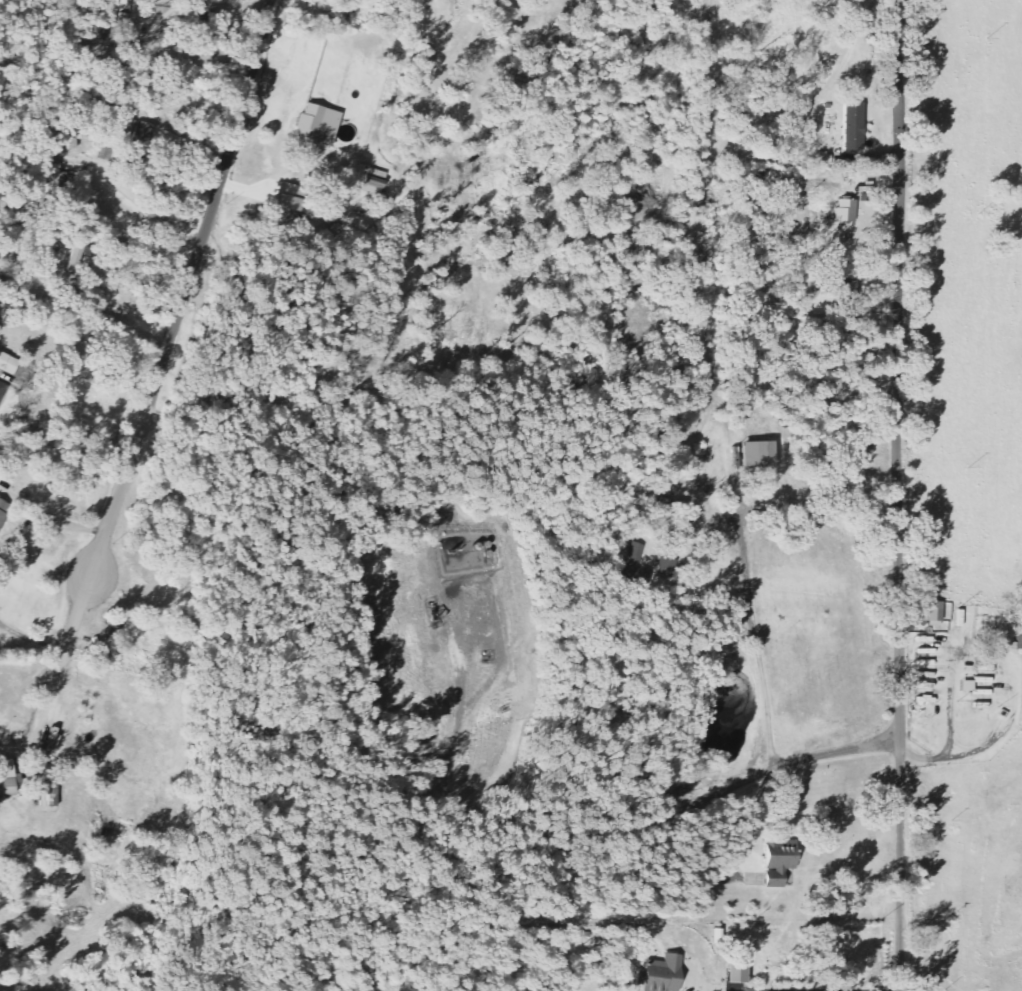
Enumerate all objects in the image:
building: (105, 21)
building: (214, 21)
road: (902, 81)
road: (813, 106)
building: (322, 123)
building: (856, 126)
building: (59, 176)
building: (295, 196)
building: (848, 209)
road: (201, 245)
building: (81, 251)
building: (851, 270)
building: (9, 362)
building: (3, 391)
building: (693, 423)
building: (763, 453)
building: (4, 510)
road: (103, 530)
building: (640, 556)
road: (899, 577)
road: (750, 590)
building: (935, 612)
building: (929, 650)
building: (969, 685)
building: (984, 685)
road: (966, 753)
road: (796, 762)
building: (8, 778)
building: (49, 793)
road: (474, 807)
road: (721, 835)
building: (782, 863)
building: (742, 966)
building: (665, 974)

